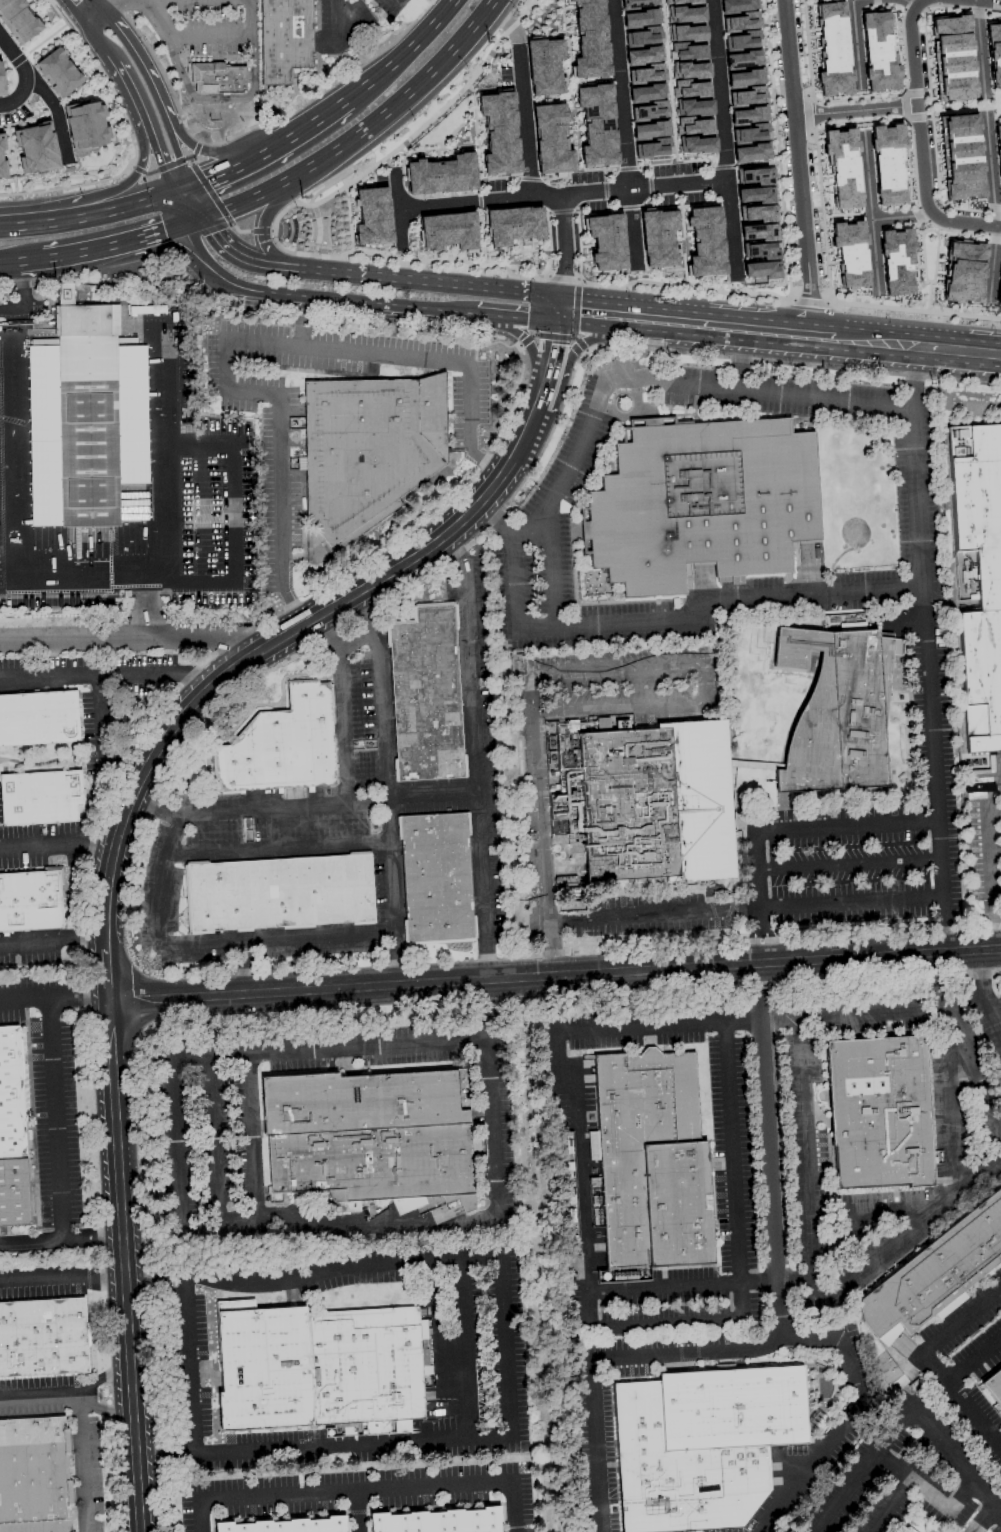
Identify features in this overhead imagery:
road: (994, 0)
building: (638, 3)
road: (907, 3)
road: (915, 3)
building: (737, 5)
building: (998, 5)
road: (99, 6)
road: (113, 6)
building: (684, 11)
road: (75, 13)
road: (335, 18)
building: (640, 18)
building: (18, 20)
road: (95, 20)
building: (742, 21)
road: (508, 24)
parking lot: (211, 26)
road: (426, 29)
building: (686, 32)
road: (123, 34)
road: (212, 38)
building: (284, 39)
building: (589, 39)
building: (743, 40)
road: (855, 41)
road: (96, 42)
building: (644, 46)
road: (980, 48)
building: (833, 50)
building: (878, 53)
building: (994, 53)
building: (950, 57)
building: (743, 59)
building: (544, 66)
building: (689, 70)
building: (57, 72)
road: (26, 75)
building: (218, 78)
building: (745, 78)
road: (373, 79)
building: (0, 81)
road: (128, 83)
building: (646, 83)
road: (402, 96)
building: (747, 96)
road: (194, 98)
road: (984, 105)
building: (693, 107)
road: (854, 110)
road: (917, 111)
building: (748, 114)
road: (166, 122)
road: (525, 123)
building: (597, 125)
building: (86, 126)
building: (693, 126)
building: (650, 129)
building: (499, 133)
building: (751, 133)
road: (624, 134)
road: (290, 139)
building: (551, 139)
road: (724, 139)
building: (696, 144)
building: (35, 148)
road: (160, 152)
building: (751, 152)
road: (222, 153)
building: (0, 155)
building: (998, 155)
building: (958, 156)
traffic signals: (164, 162)
building: (888, 164)
building: (843, 166)
road: (796, 167)
road: (990, 169)
road: (138, 170)
building: (441, 175)
building: (753, 175)
road: (210, 179)
traffic signals: (207, 181)
road: (183, 189)
road: (563, 195)
road: (249, 198)
road: (197, 203)
road: (181, 208)
road: (398, 210)
road: (89, 213)
road: (869, 215)
building: (372, 217)
road: (901, 218)
road: (194, 222)
road: (966, 222)
road: (263, 225)
building: (513, 225)
traffic signals: (163, 231)
building: (448, 231)
traffic signals: (211, 233)
road: (147, 234)
building: (658, 238)
building: (606, 241)
building: (705, 242)
building: (761, 250)
road: (64, 255)
road: (186, 255)
road: (566, 255)
road: (239, 260)
building: (897, 260)
road: (9, 264)
road: (212, 266)
road: (992, 267)
building: (964, 272)
road: (558, 282)
road: (429, 283)
road: (681, 287)
building: (999, 287)
road: (18, 295)
road: (365, 302)
road: (806, 305)
road: (607, 314)
road: (913, 315)
road: (517, 318)
road: (300, 321)
road: (732, 327)
road: (822, 336)
road: (875, 341)
road: (263, 342)
road: (525, 345)
road: (586, 345)
road: (958, 350)
road: (698, 354)
road: (550, 358)
road: (737, 359)
road: (427, 360)
road: (670, 381)
road: (231, 387)
building: (88, 411)
road: (529, 422)
building: (369, 449)
road: (486, 464)
parking lot: (125, 480)
building: (702, 502)
road: (281, 514)
road: (230, 520)
road: (552, 567)
road: (82, 568)
building: (979, 576)
road: (149, 603)
road: (654, 618)
building: (851, 626)
road: (136, 638)
road: (929, 649)
road: (253, 655)
road: (696, 662)
road: (105, 676)
building: (426, 695)
road: (341, 707)
building: (837, 711)
building: (39, 718)
road: (102, 737)
building: (282, 745)
road: (472, 756)
road: (386, 786)
building: (40, 797)
building: (647, 799)
road: (329, 805)
road: (983, 807)
road: (153, 810)
road: (542, 845)
road: (57, 846)
road: (278, 848)
road: (993, 848)
road: (846, 859)
building: (437, 877)
road: (753, 880)
building: (280, 893)
road: (989, 898)
building: (30, 900)
road: (847, 907)
road: (995, 921)
road: (767, 937)
road: (52, 939)
road: (755, 939)
road: (210, 943)
road: (106, 975)
road: (555, 975)
road: (983, 992)
road: (54, 995)
road: (996, 1009)
road: (874, 1013)
road: (658, 1024)
road: (974, 1070)
road: (953, 1093)
building: (879, 1112)
road: (56, 1118)
building: (12, 1133)
building: (370, 1137)
road: (211, 1140)
road: (173, 1143)
road: (734, 1154)
road: (578, 1160)
building: (651, 1164)
road: (805, 1164)
road: (865, 1214)
road: (924, 1219)
road: (289, 1226)
road: (61, 1241)
road: (774, 1243)
road: (425, 1260)
road: (124, 1266)
building: (937, 1272)
road: (152, 1274)
road: (62, 1277)
road: (683, 1291)
road: (963, 1319)
road: (662, 1323)
building: (43, 1337)
road: (504, 1347)
road: (974, 1358)
building: (320, 1370)
building: (888, 1372)
road: (101, 1379)
building: (994, 1386)
road: (962, 1399)
road: (104, 1410)
road: (905, 1412)
road: (847, 1413)
road: (82, 1427)
road: (595, 1444)
building: (703, 1445)
building: (34, 1475)
road: (929, 1489)
road: (364, 1491)
road: (888, 1504)
road: (356, 1512)
building: (439, 1521)
building: (287, 1526)
building: (907, 1530)

